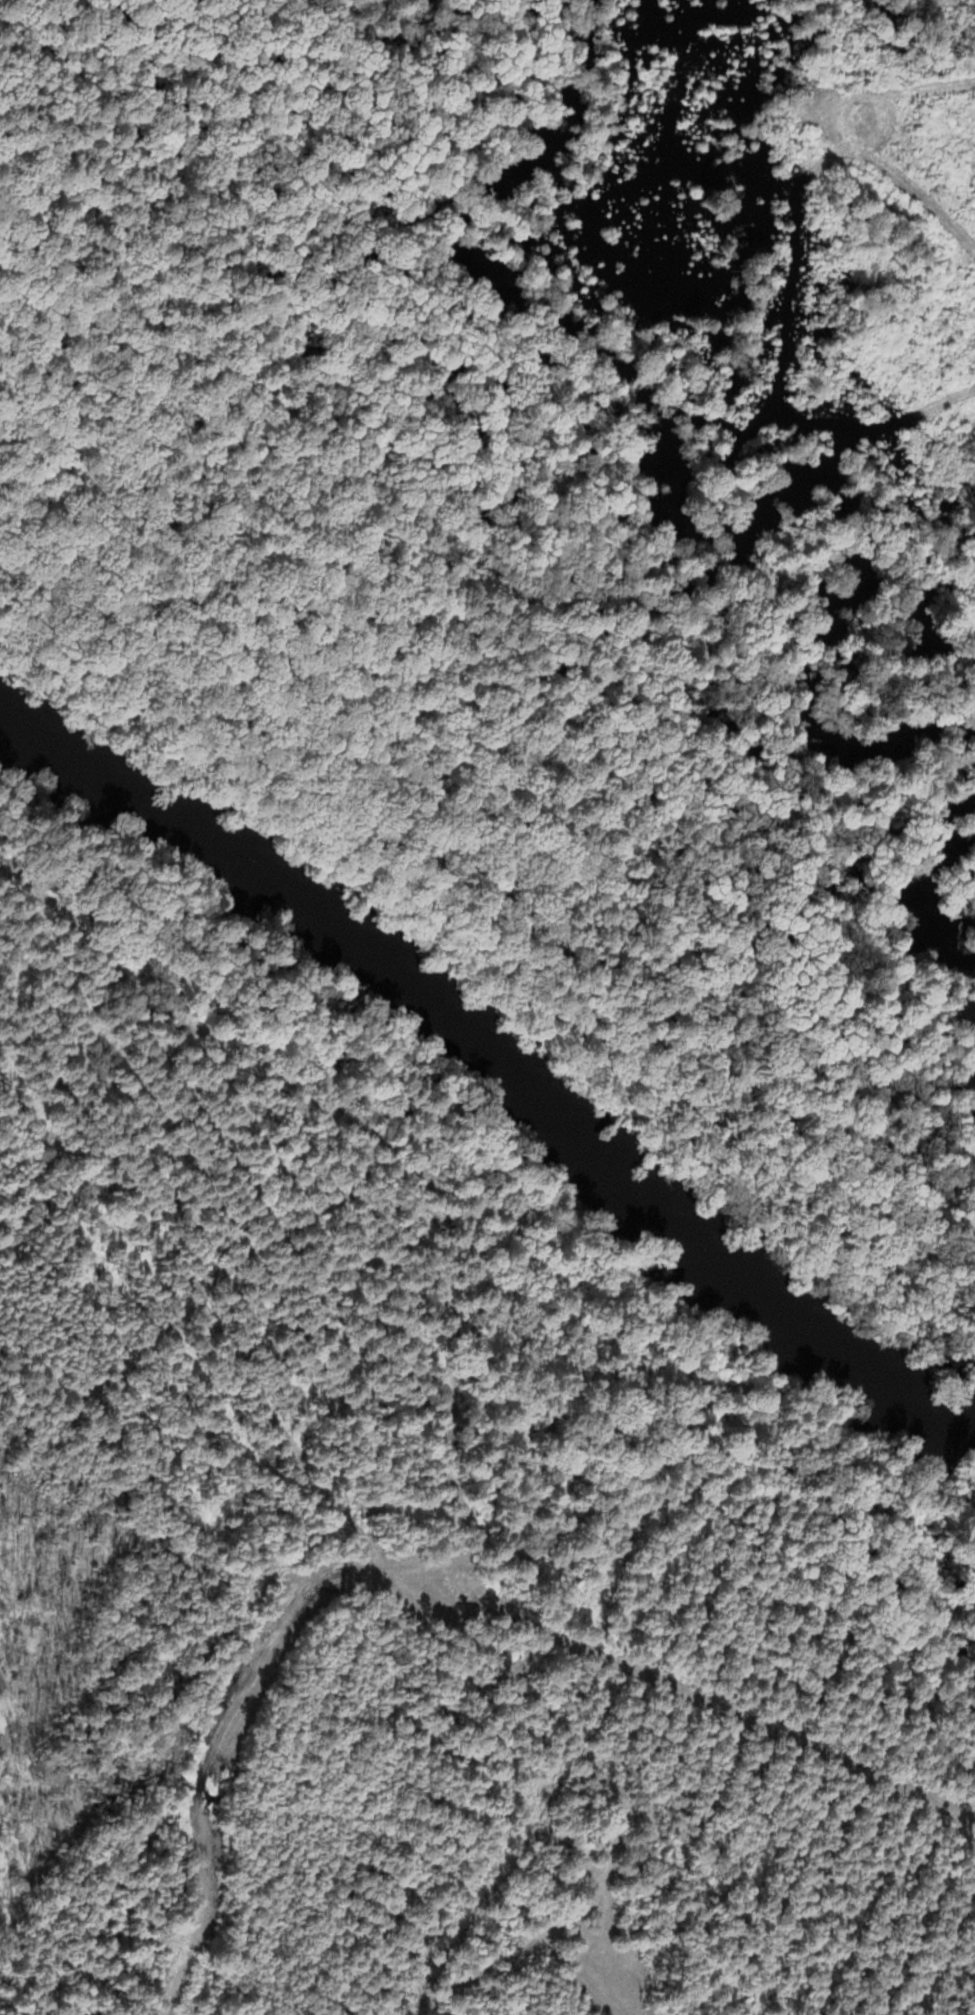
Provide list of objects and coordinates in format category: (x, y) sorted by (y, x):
river: (483, 1072)

